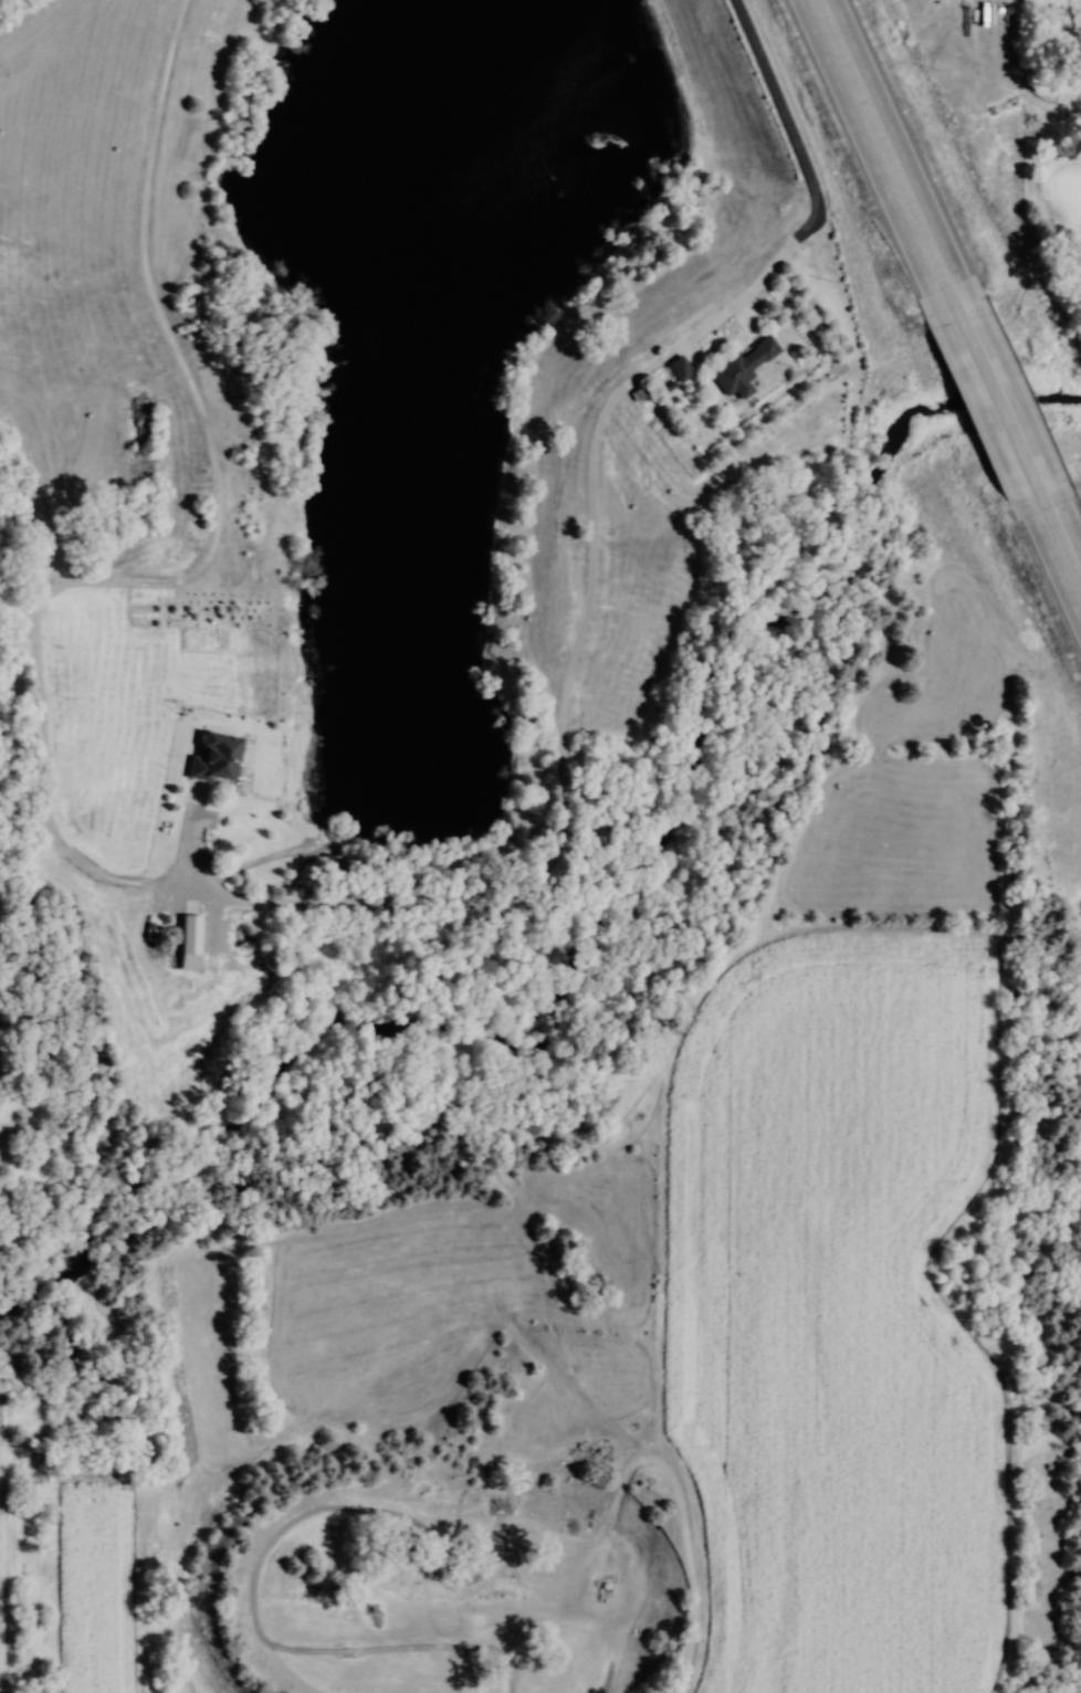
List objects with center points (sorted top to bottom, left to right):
road: (904, 136)
road: (875, 143)
road: (1039, 169)
park: (1050, 172)
building: (742, 368)
building: (678, 369)
road: (1016, 387)
road: (989, 397)
building: (1052, 470)
road: (1073, 518)
road: (1060, 559)
building: (213, 759)
road: (411, 907)
crop: (837, 1315)
crop: (96, 1582)

